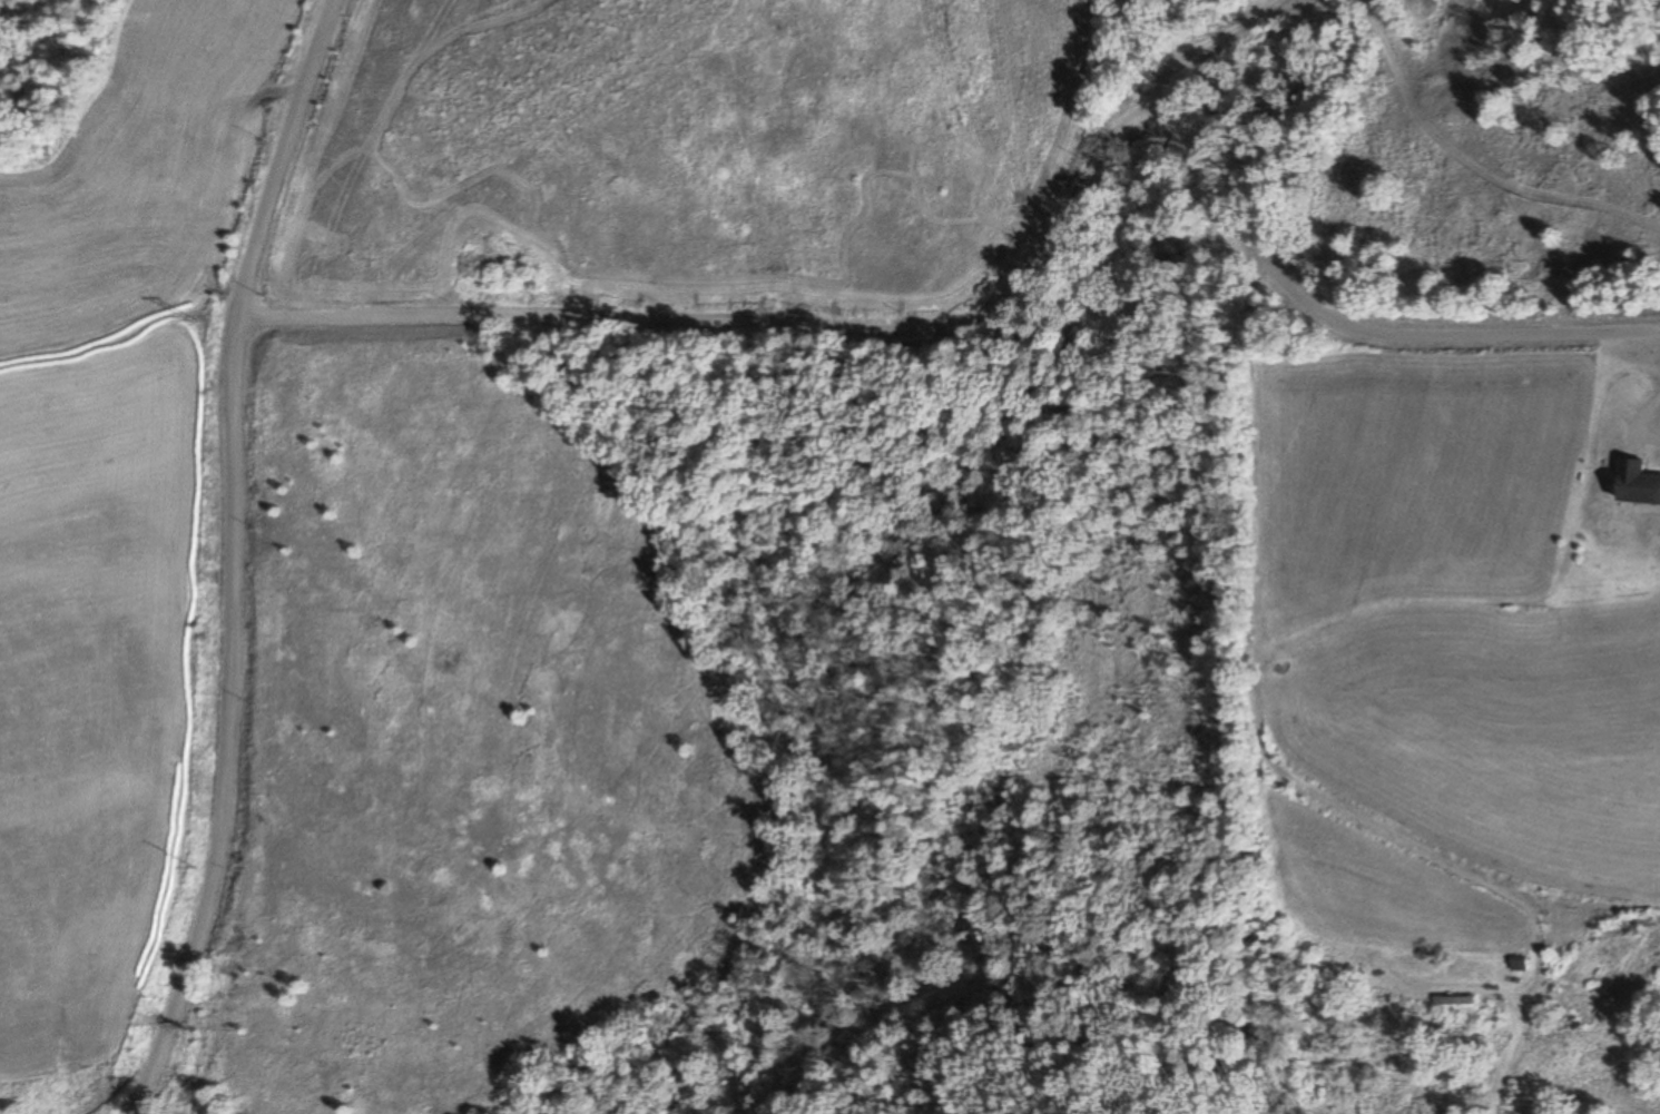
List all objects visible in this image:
road: (998, 289)
power tower: (195, 319)
building: (1636, 483)
road: (253, 558)
building: (1517, 963)
building: (1452, 1000)

